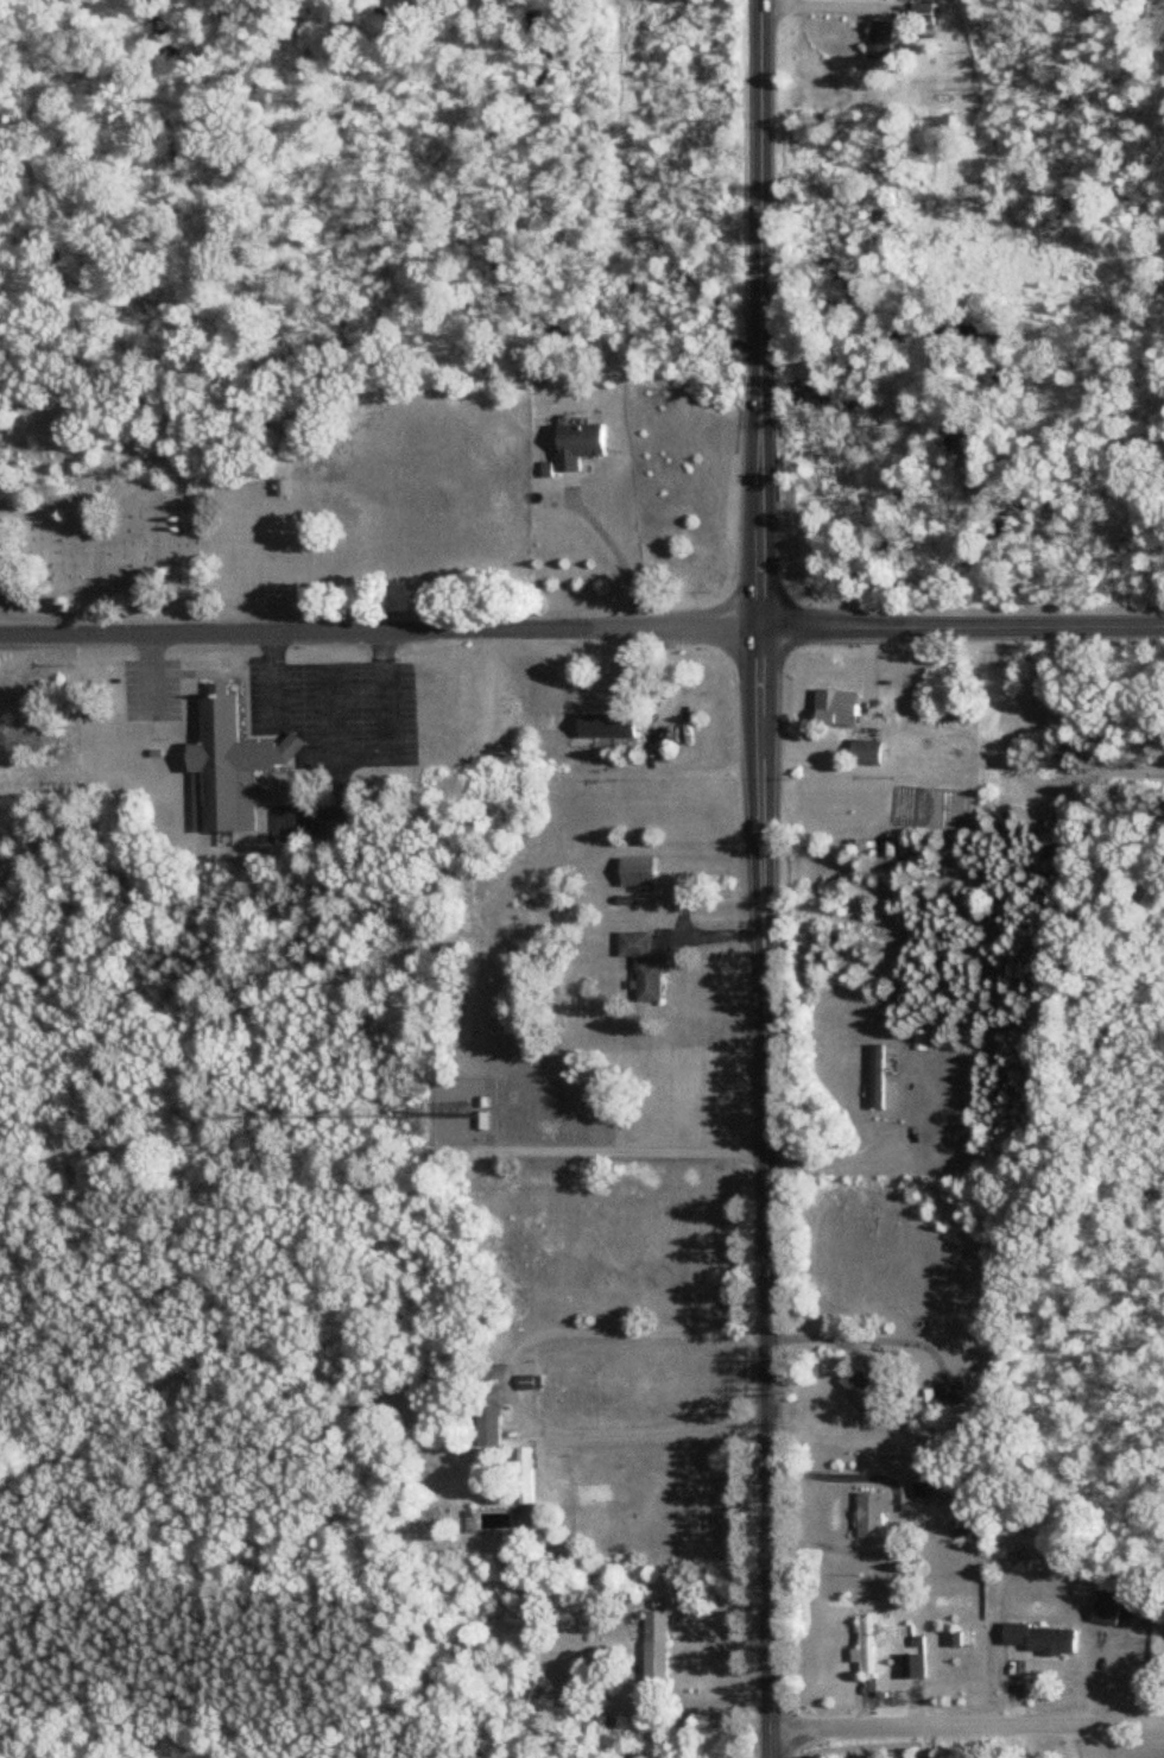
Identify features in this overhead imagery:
building: (924, 14)
building: (881, 42)
building: (580, 447)
building: (281, 488)
road: (609, 546)
road: (581, 630)
building: (836, 707)
building: (609, 726)
building: (866, 752)
building: (229, 767)
building: (639, 873)
road: (760, 879)
building: (643, 967)
building: (878, 1077)
building: (483, 1123)
road: (823, 1164)
road: (860, 1339)
road: (508, 1380)
building: (951, 1395)
building: (488, 1428)
road: (833, 1474)
building: (524, 1478)
building: (872, 1516)
building: (1109, 1608)
building: (1044, 1640)
building: (865, 1648)
building: (656, 1649)
building: (913, 1667)
road: (966, 1726)

